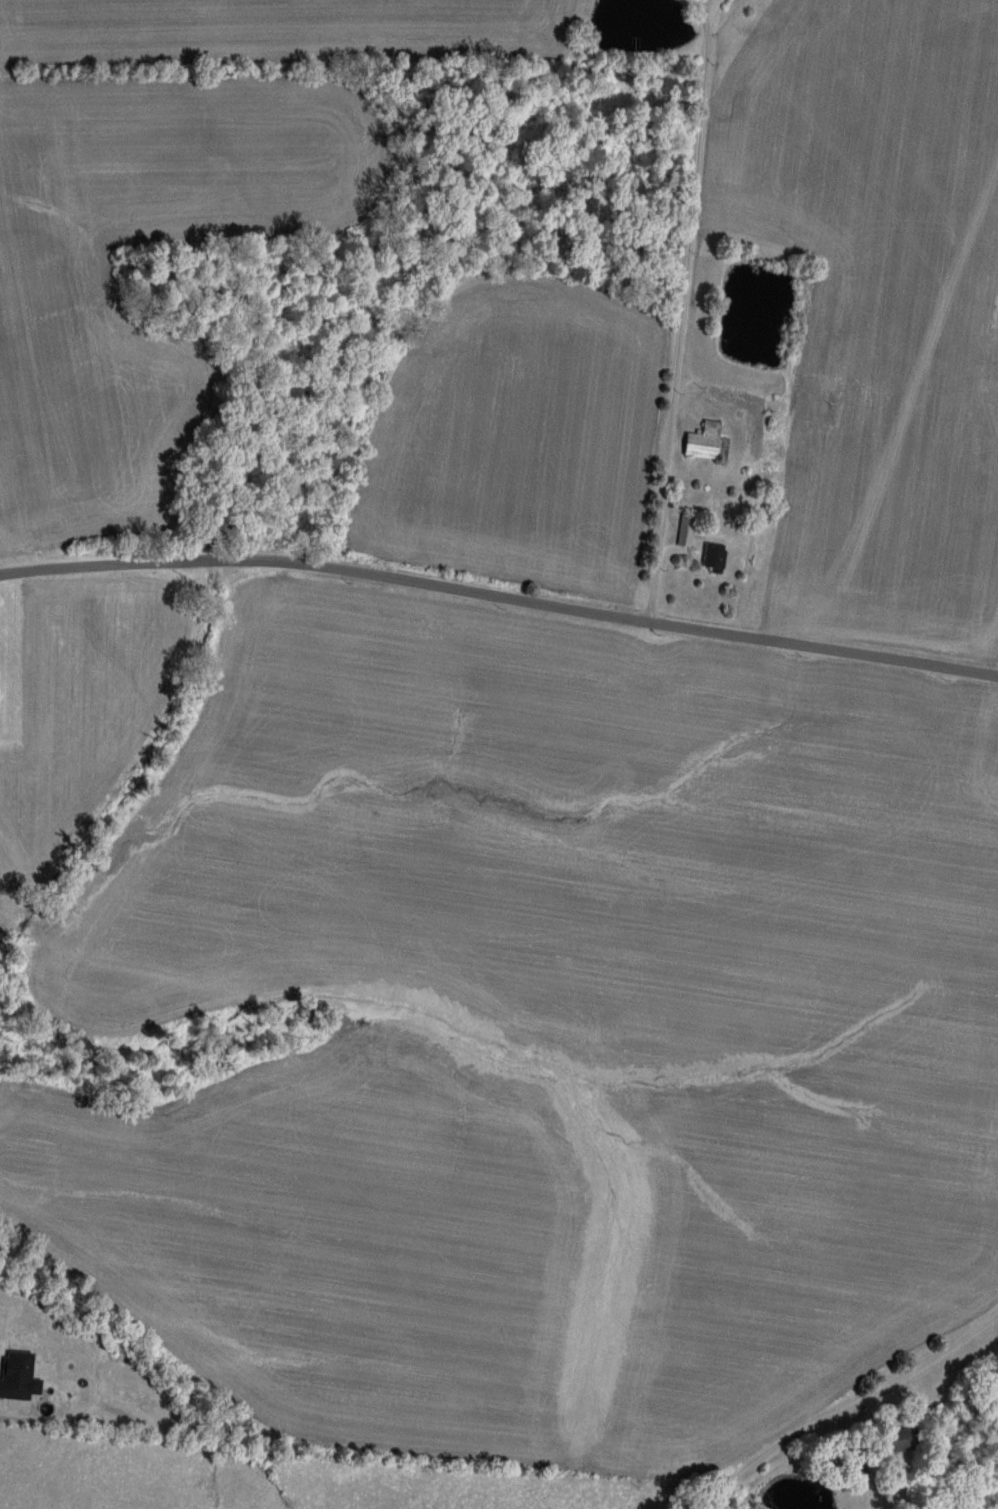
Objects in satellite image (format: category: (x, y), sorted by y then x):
road: (682, 14)
road: (681, 313)
building: (699, 440)
building: (682, 531)
building: (710, 557)
road: (500, 597)
building: (15, 1375)
road: (847, 1408)
building: (893, 1438)

